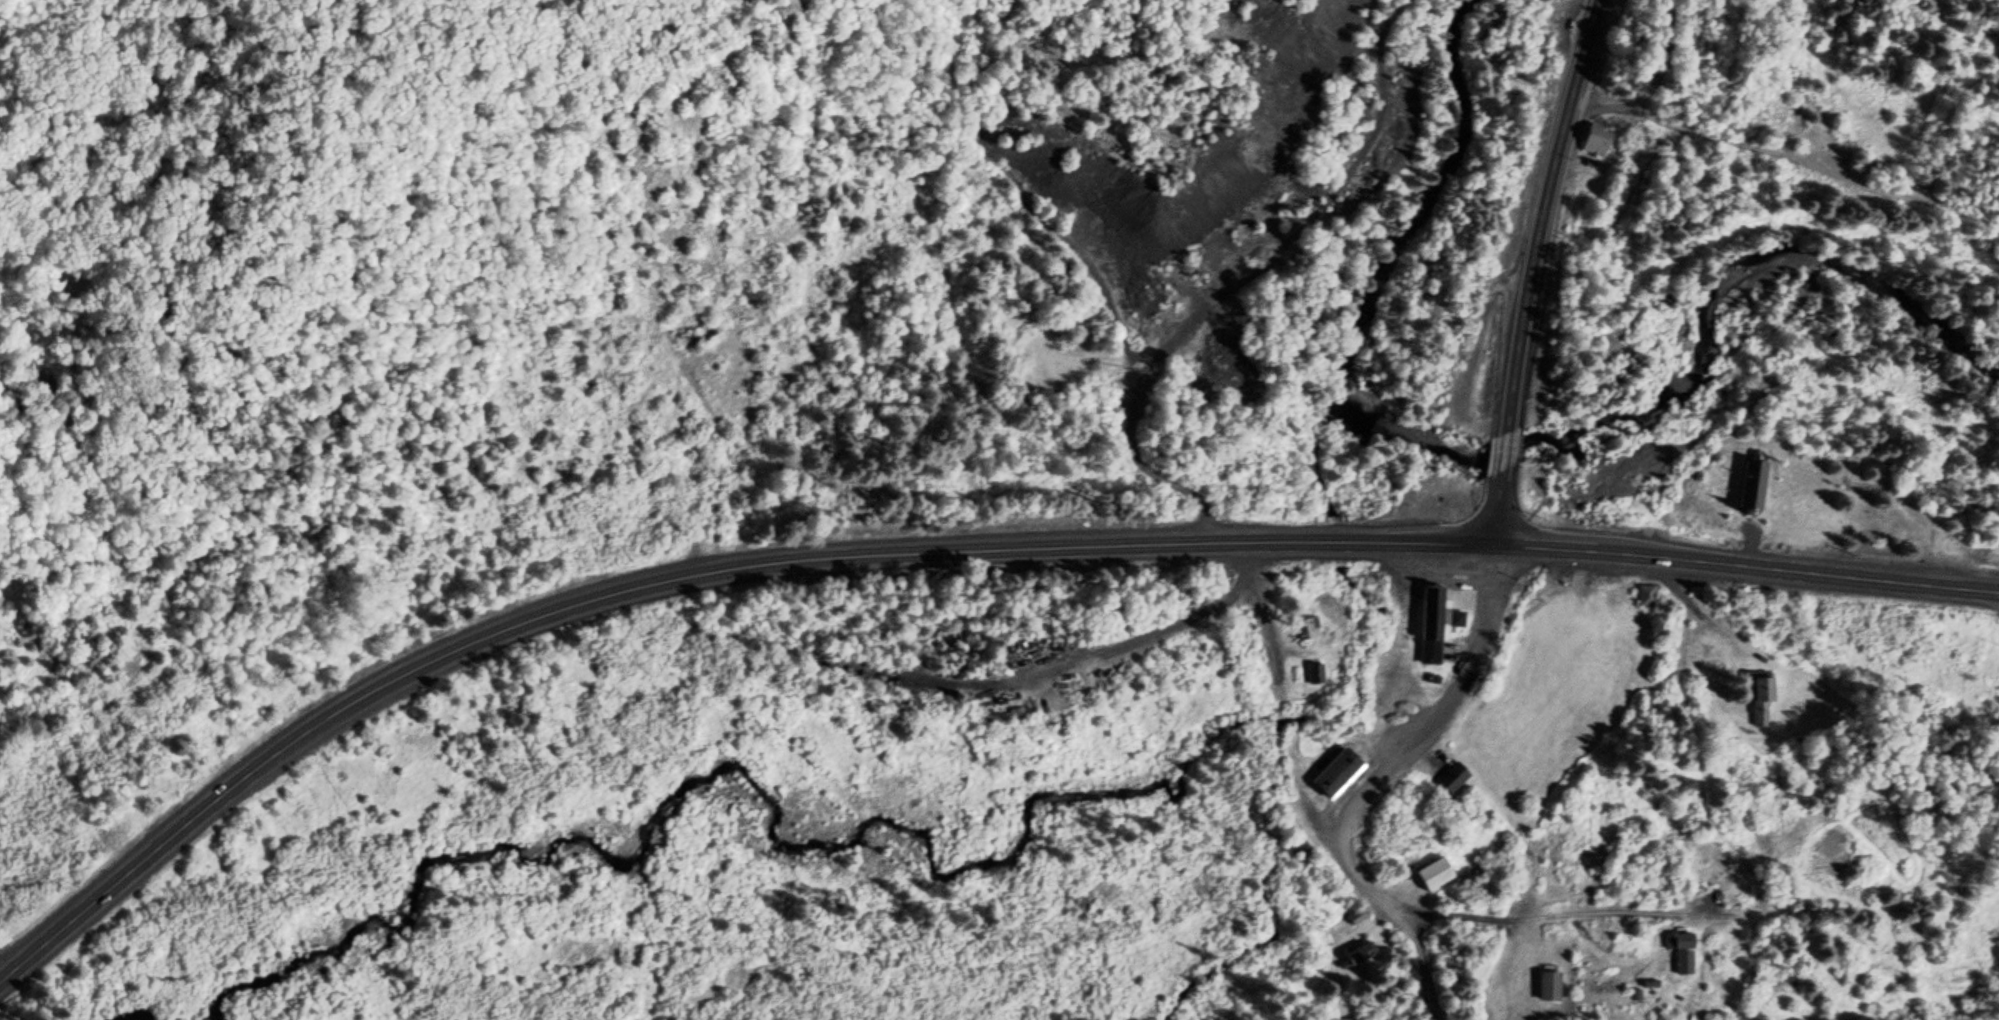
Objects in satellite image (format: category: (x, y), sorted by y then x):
building: (1594, 142)
road: (1785, 165)
river: (1432, 207)
road: (1543, 214)
river: (1659, 377)
road: (707, 448)
road: (1503, 457)
river: (1328, 461)
building: (1749, 481)
road: (1497, 513)
river: (1333, 541)
road: (1747, 564)
road: (686, 574)
building: (1642, 595)
building: (1457, 619)
building: (1427, 623)
road: (1261, 627)
building: (1308, 629)
road: (1396, 648)
road: (1361, 651)
road: (1103, 652)
road: (798, 653)
building: (1316, 674)
building: (1761, 698)
road: (1437, 710)
building: (1333, 772)
building: (1449, 777)
road: (1311, 816)
river: (1024, 864)
building: (1433, 874)
road: (1358, 881)
road: (1756, 908)
river: (426, 925)
building: (1684, 942)
road: (1408, 964)
building: (1547, 985)

